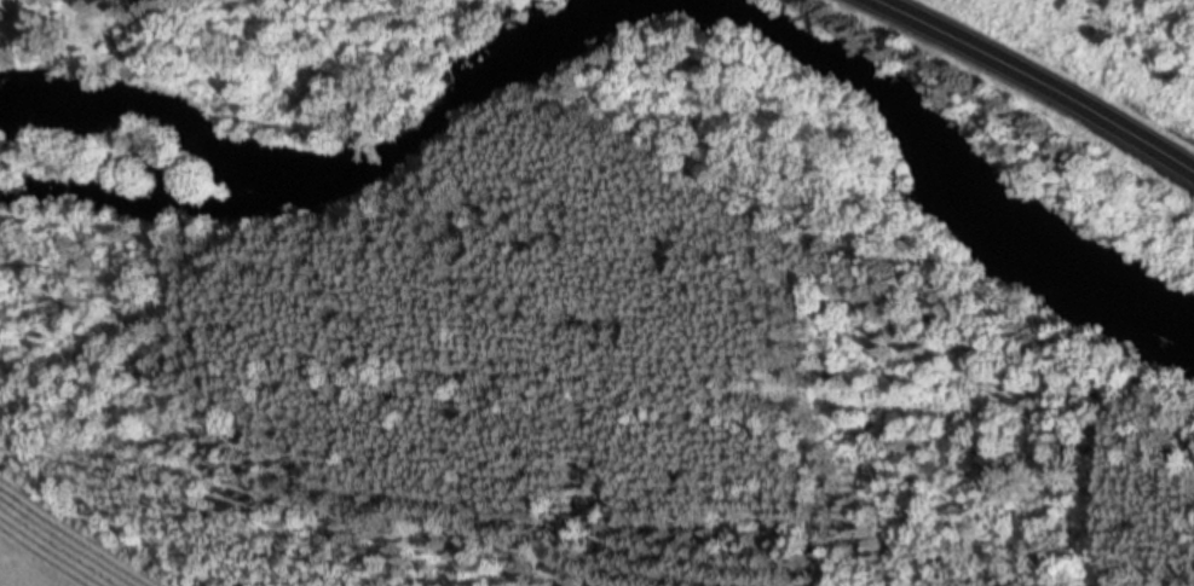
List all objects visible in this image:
river: (608, 11)
road: (1045, 79)

